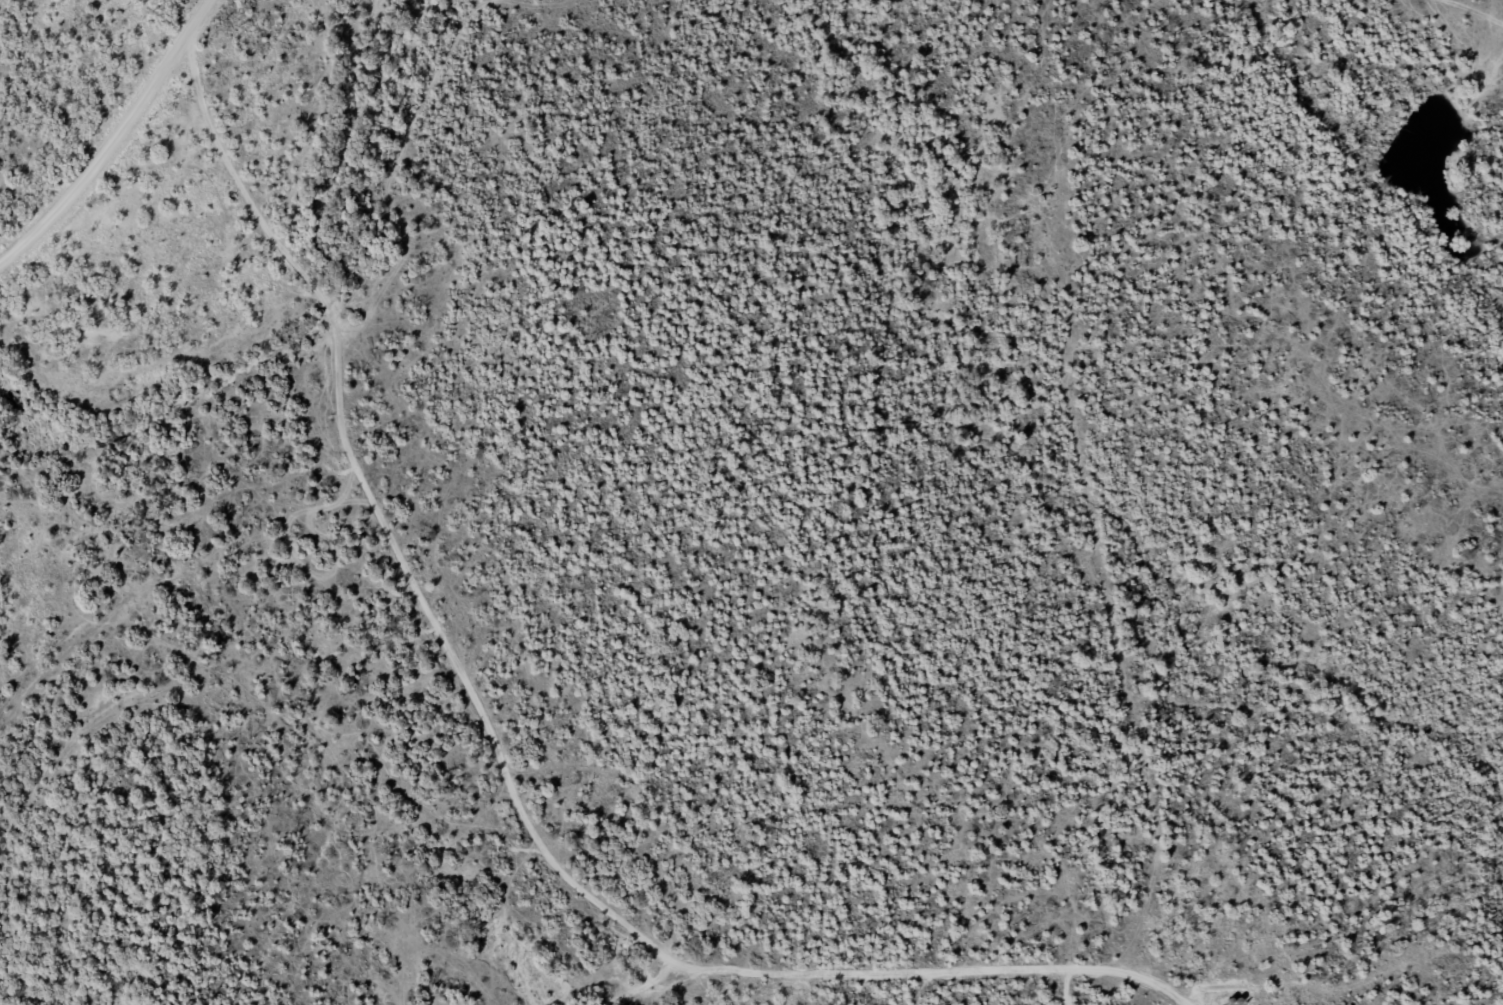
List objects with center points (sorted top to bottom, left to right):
road: (117, 140)

